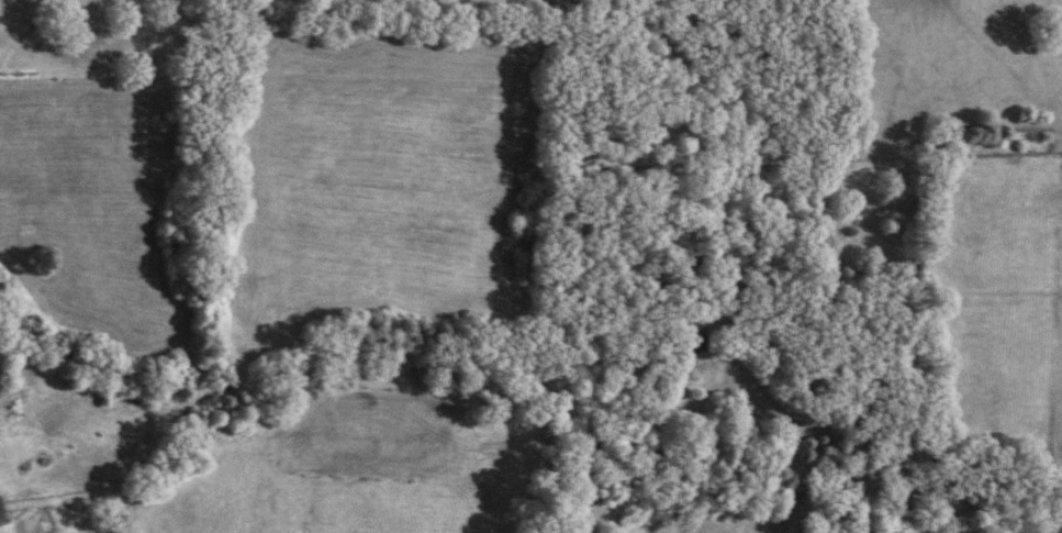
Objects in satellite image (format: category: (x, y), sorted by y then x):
road: (789, 426)
building: (1, 512)

